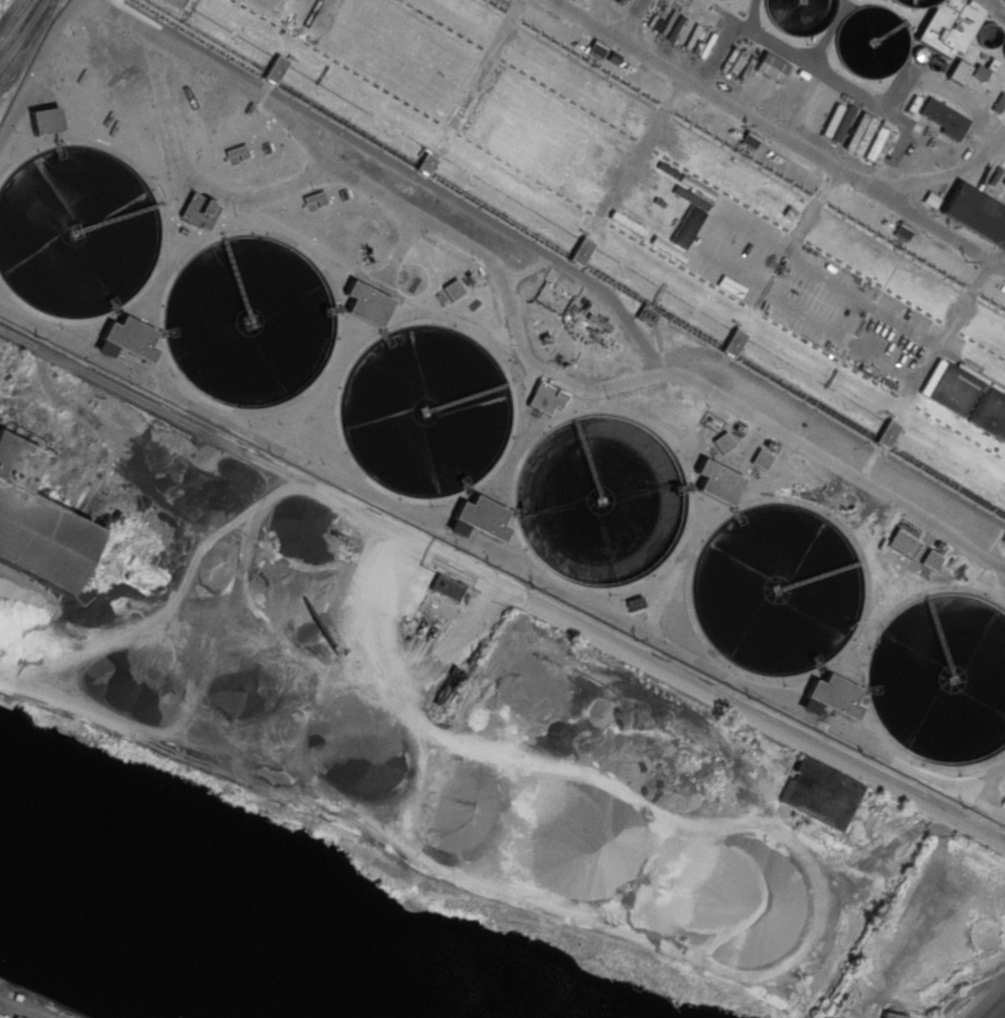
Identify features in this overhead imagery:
building: (744, 0)
building: (913, 2)
storage tank: (913, 2)
building: (799, 14)
storage tank: (799, 14)
railway: (13, 18)
road: (629, 19)
wastewater plant: (947, 25)
building: (946, 26)
railway: (24, 34)
building: (870, 41)
storage tank: (870, 41)
building: (597, 47)
building: (934, 63)
building: (770, 66)
building: (275, 68)
building: (956, 70)
building: (978, 72)
building: (628, 100)
building: (621, 116)
building: (945, 116)
building: (46, 119)
building: (844, 125)
road: (779, 133)
building: (868, 136)
building: (750, 138)
building: (613, 139)
building: (701, 141)
building: (240, 151)
building: (425, 163)
building: (726, 183)
building: (318, 196)
building: (931, 199)
building: (774, 206)
building: (201, 210)
building: (976, 212)
building: (687, 225)
building: (903, 230)
building: (581, 250)
building: (451, 288)
parking lot: (809, 292)
building: (366, 302)
wastewater plant: (580, 307)
building: (646, 313)
building: (131, 338)
road: (519, 339)
building: (734, 342)
road: (35, 386)
building: (546, 397)
building: (967, 397)
road: (79, 415)
building: (886, 433)
building: (723, 441)
road: (212, 442)
building: (761, 458)
building: (717, 481)
building: (482, 516)
building: (33, 526)
building: (902, 542)
building: (930, 559)
building: (445, 585)
building: (77, 594)
building: (633, 602)
building: (835, 695)
road: (715, 696)
road: (412, 711)
building: (819, 792)
river: (201, 930)
road: (806, 952)
road: (996, 1009)
building: (891, 1015)

